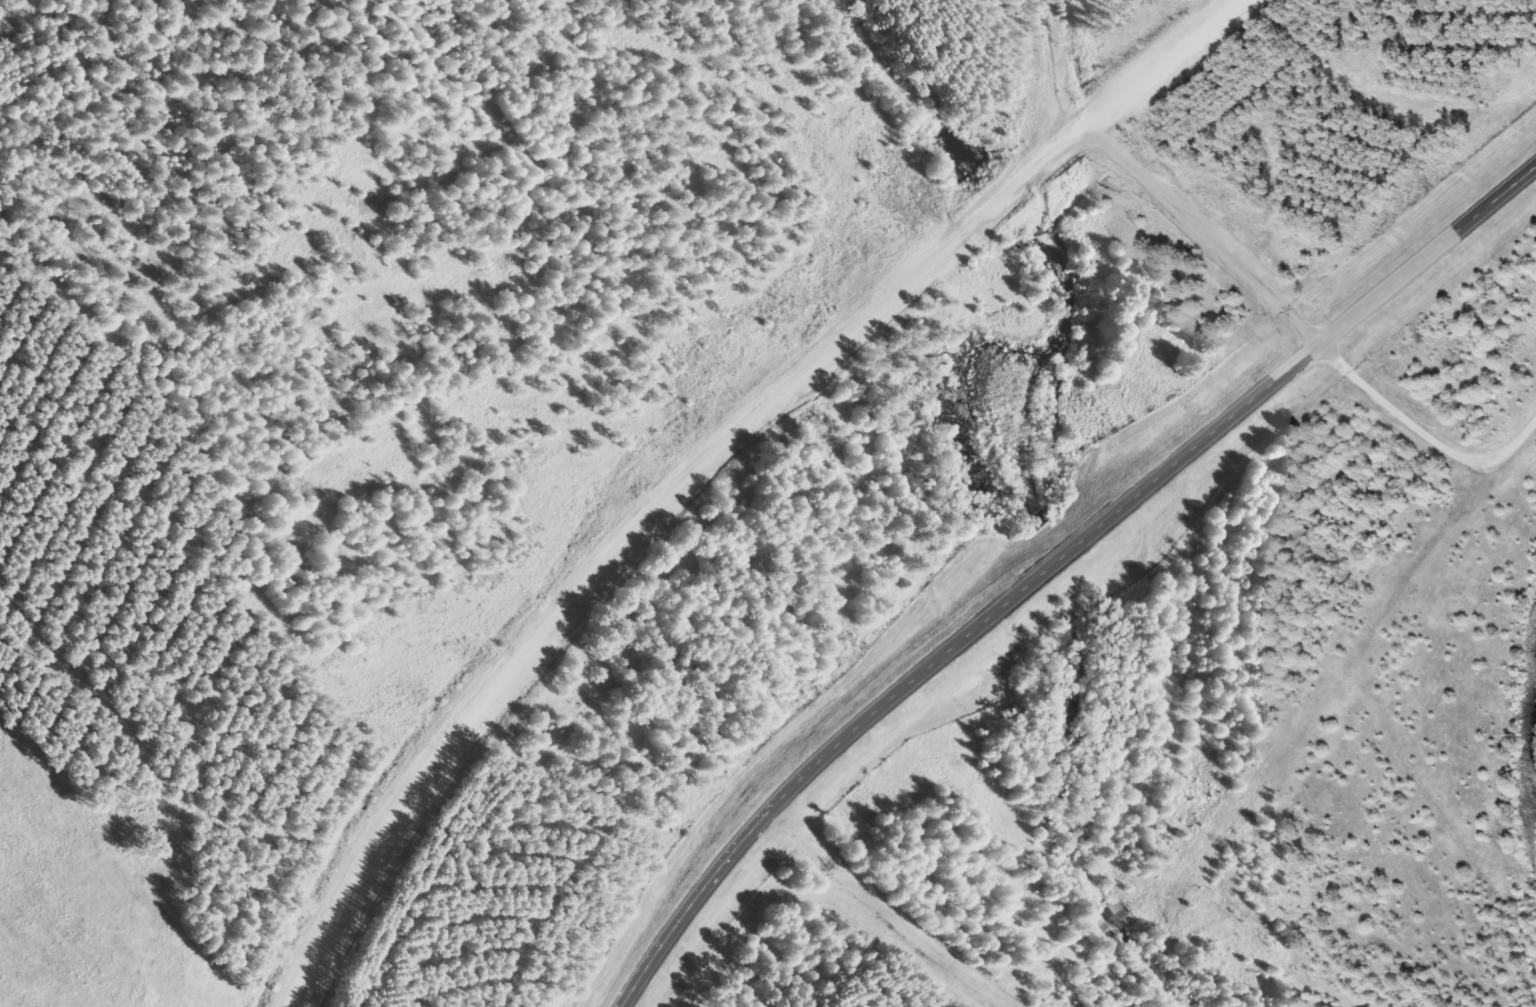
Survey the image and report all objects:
road: (1161, 64)
road: (760, 421)
road: (1052, 561)

